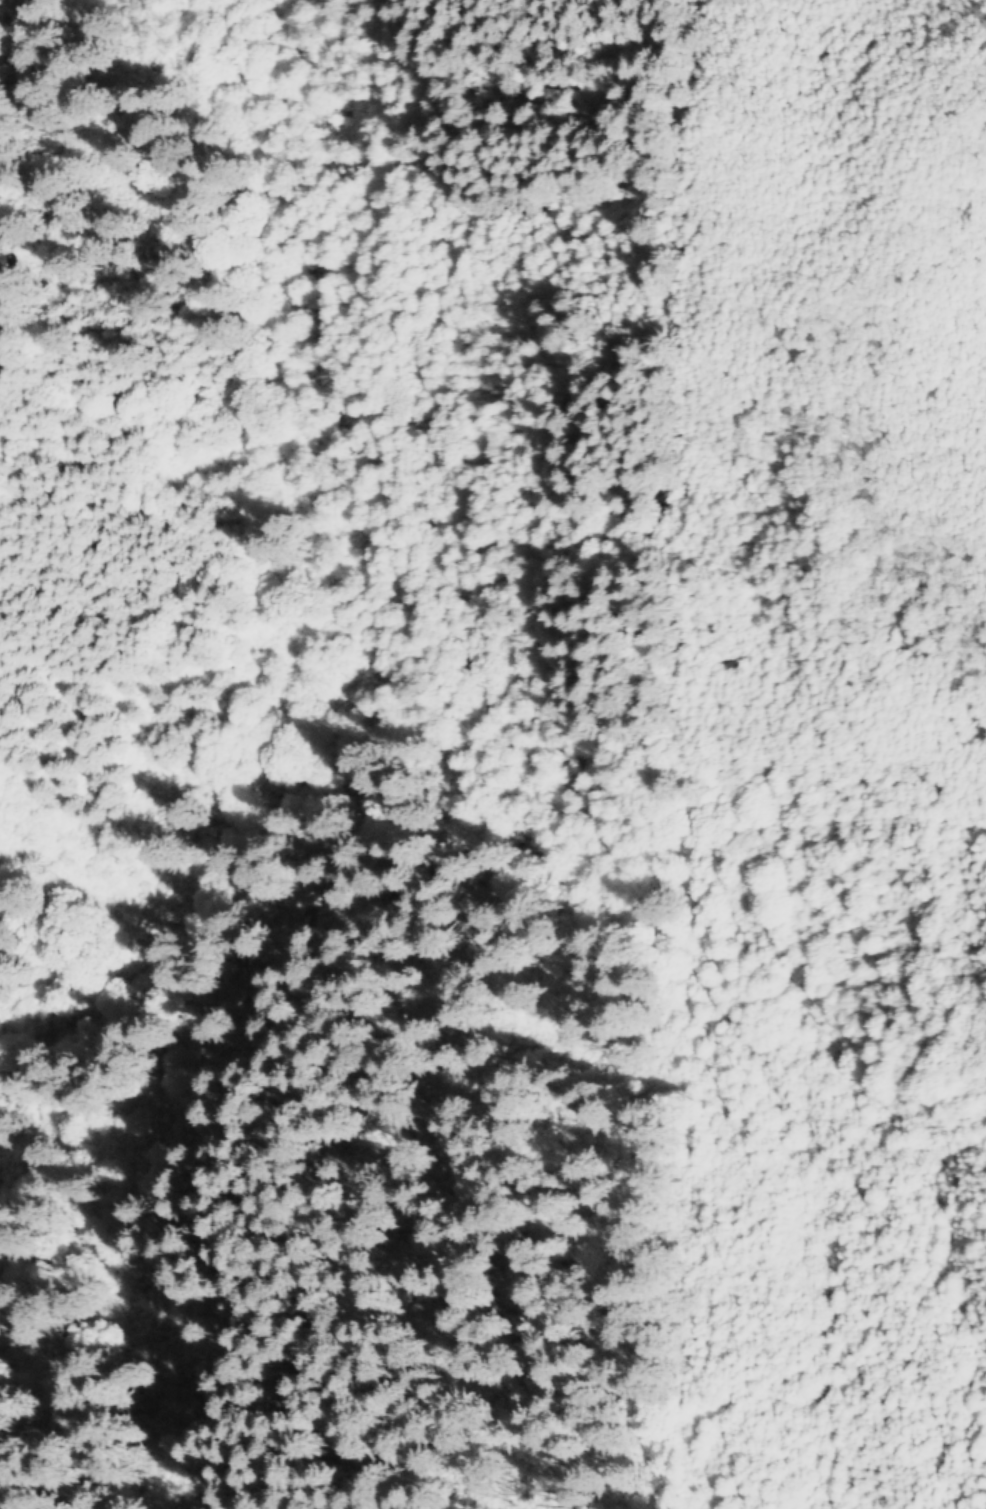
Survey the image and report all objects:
road: (21, 345)

